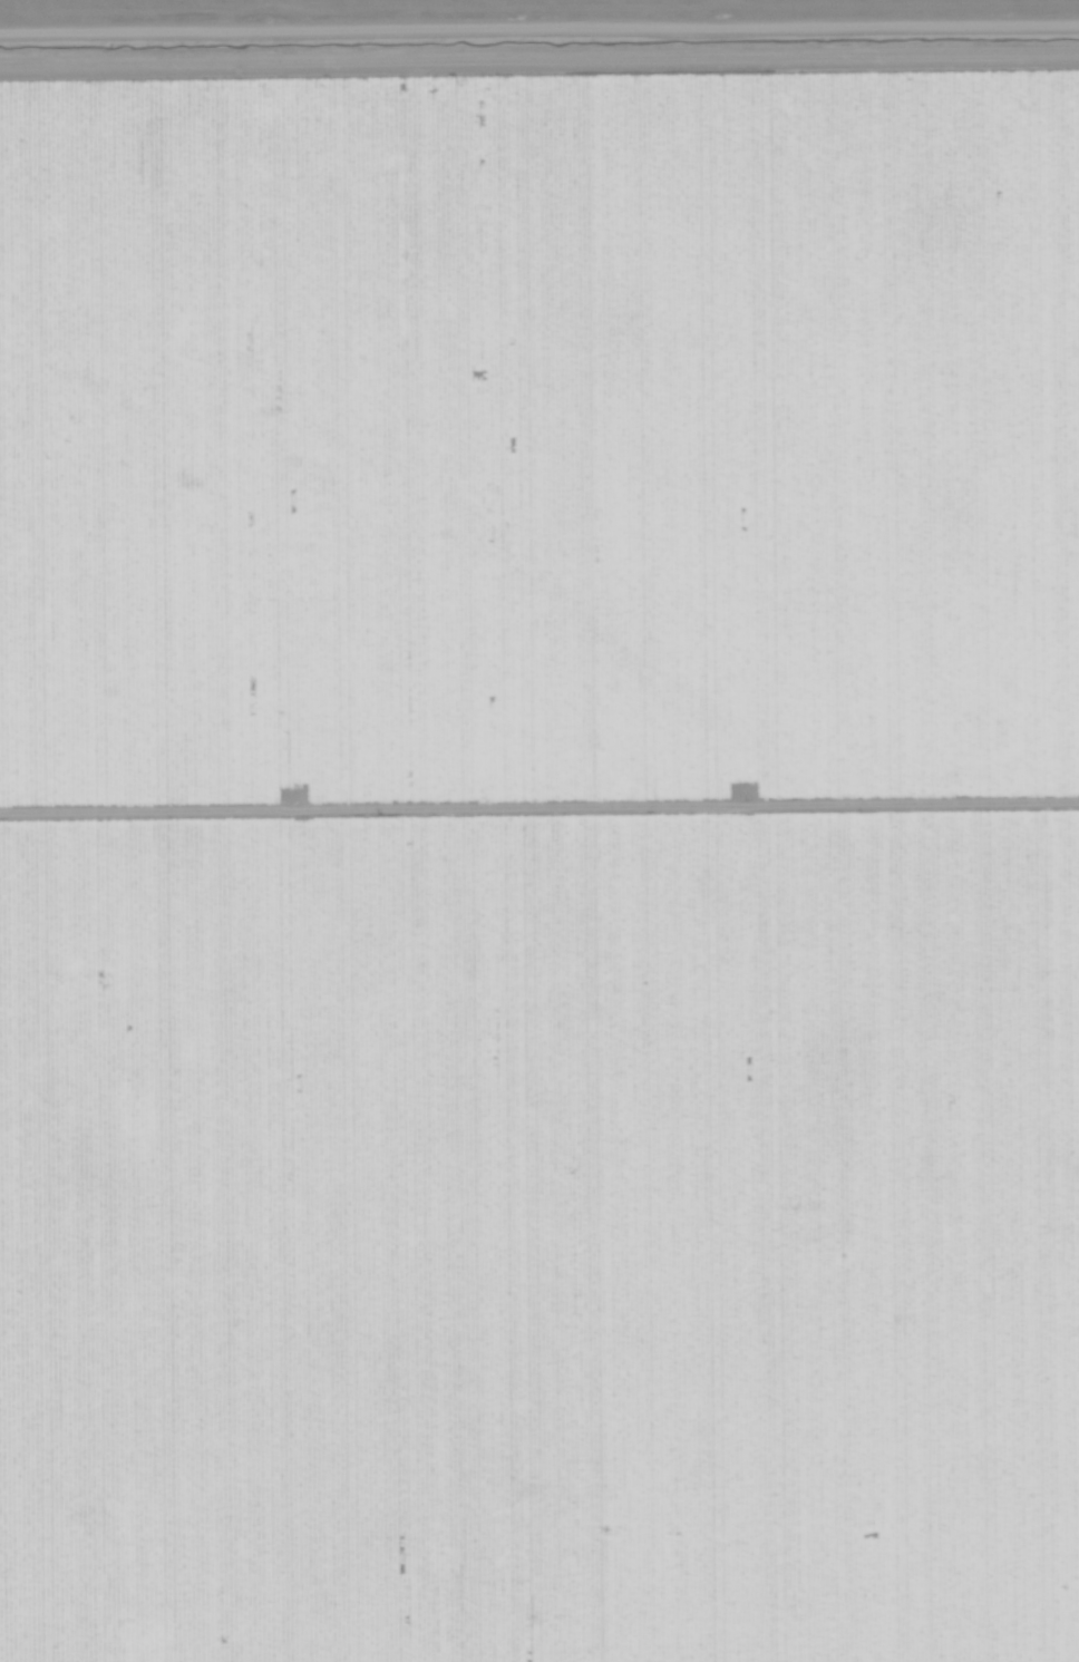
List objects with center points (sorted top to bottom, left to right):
crop: (557, 33)
crop: (538, 865)

